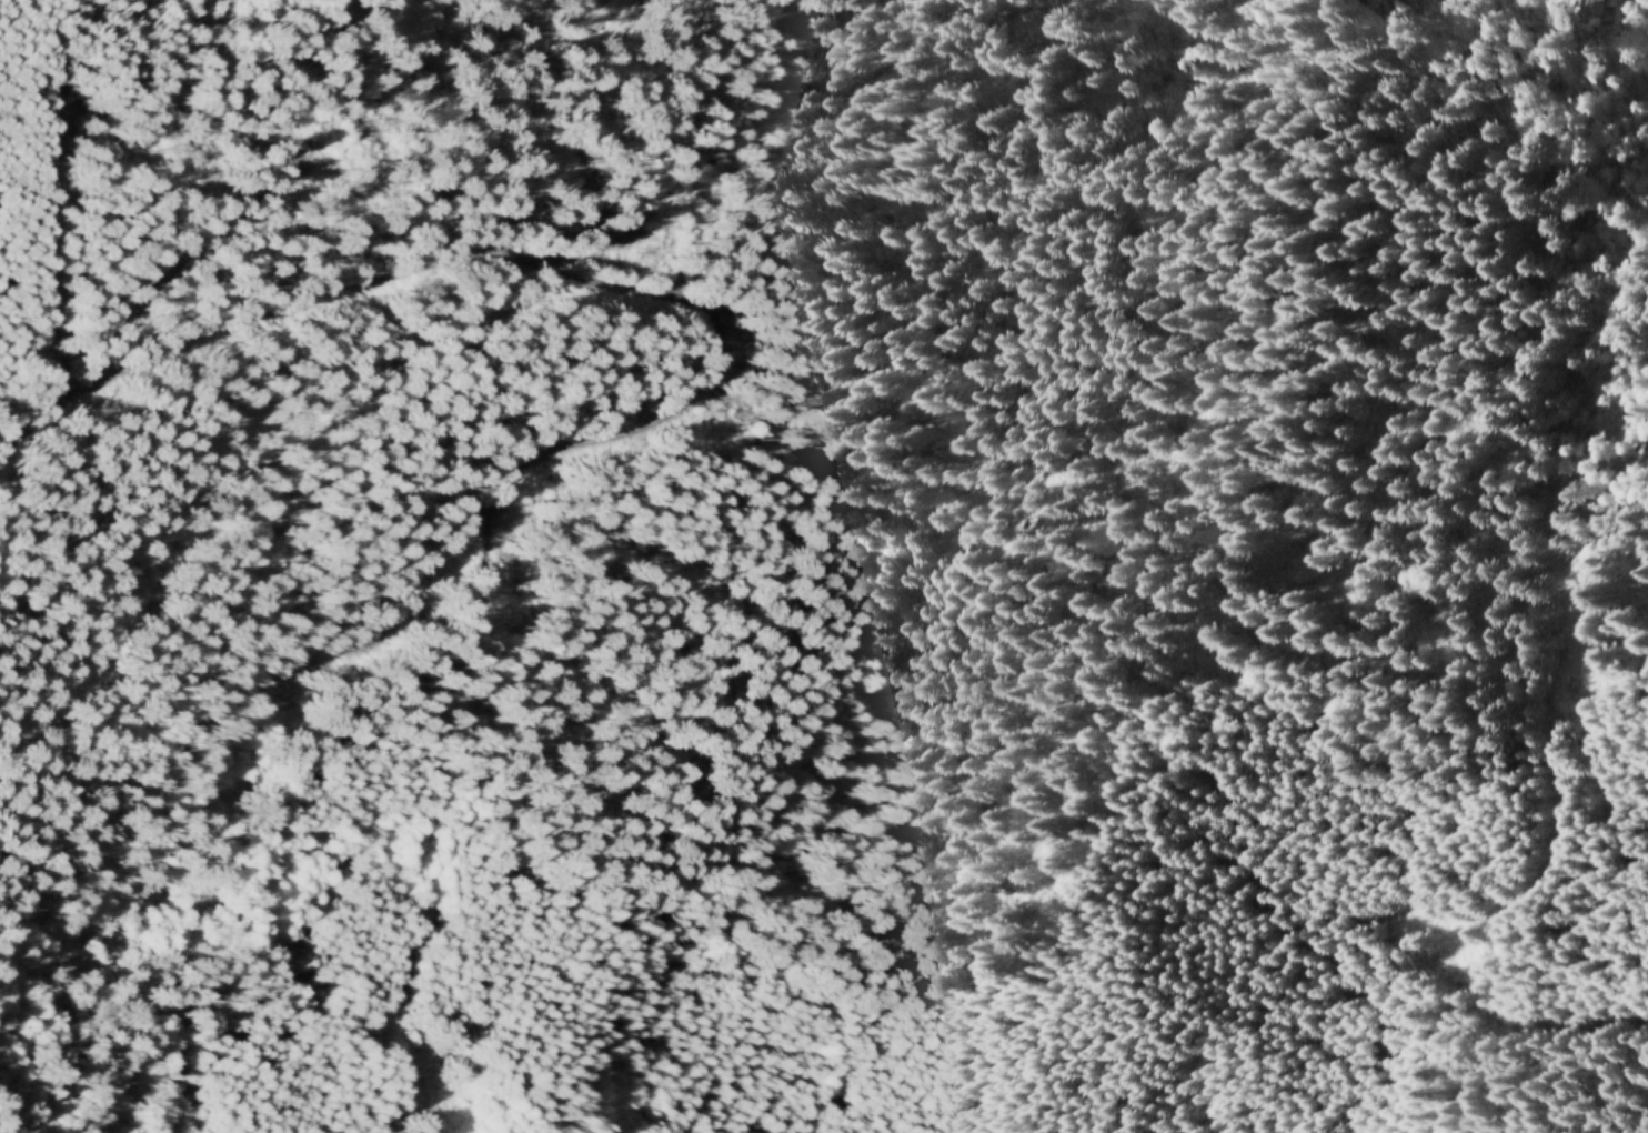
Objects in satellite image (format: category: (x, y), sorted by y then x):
road: (1642, 6)

